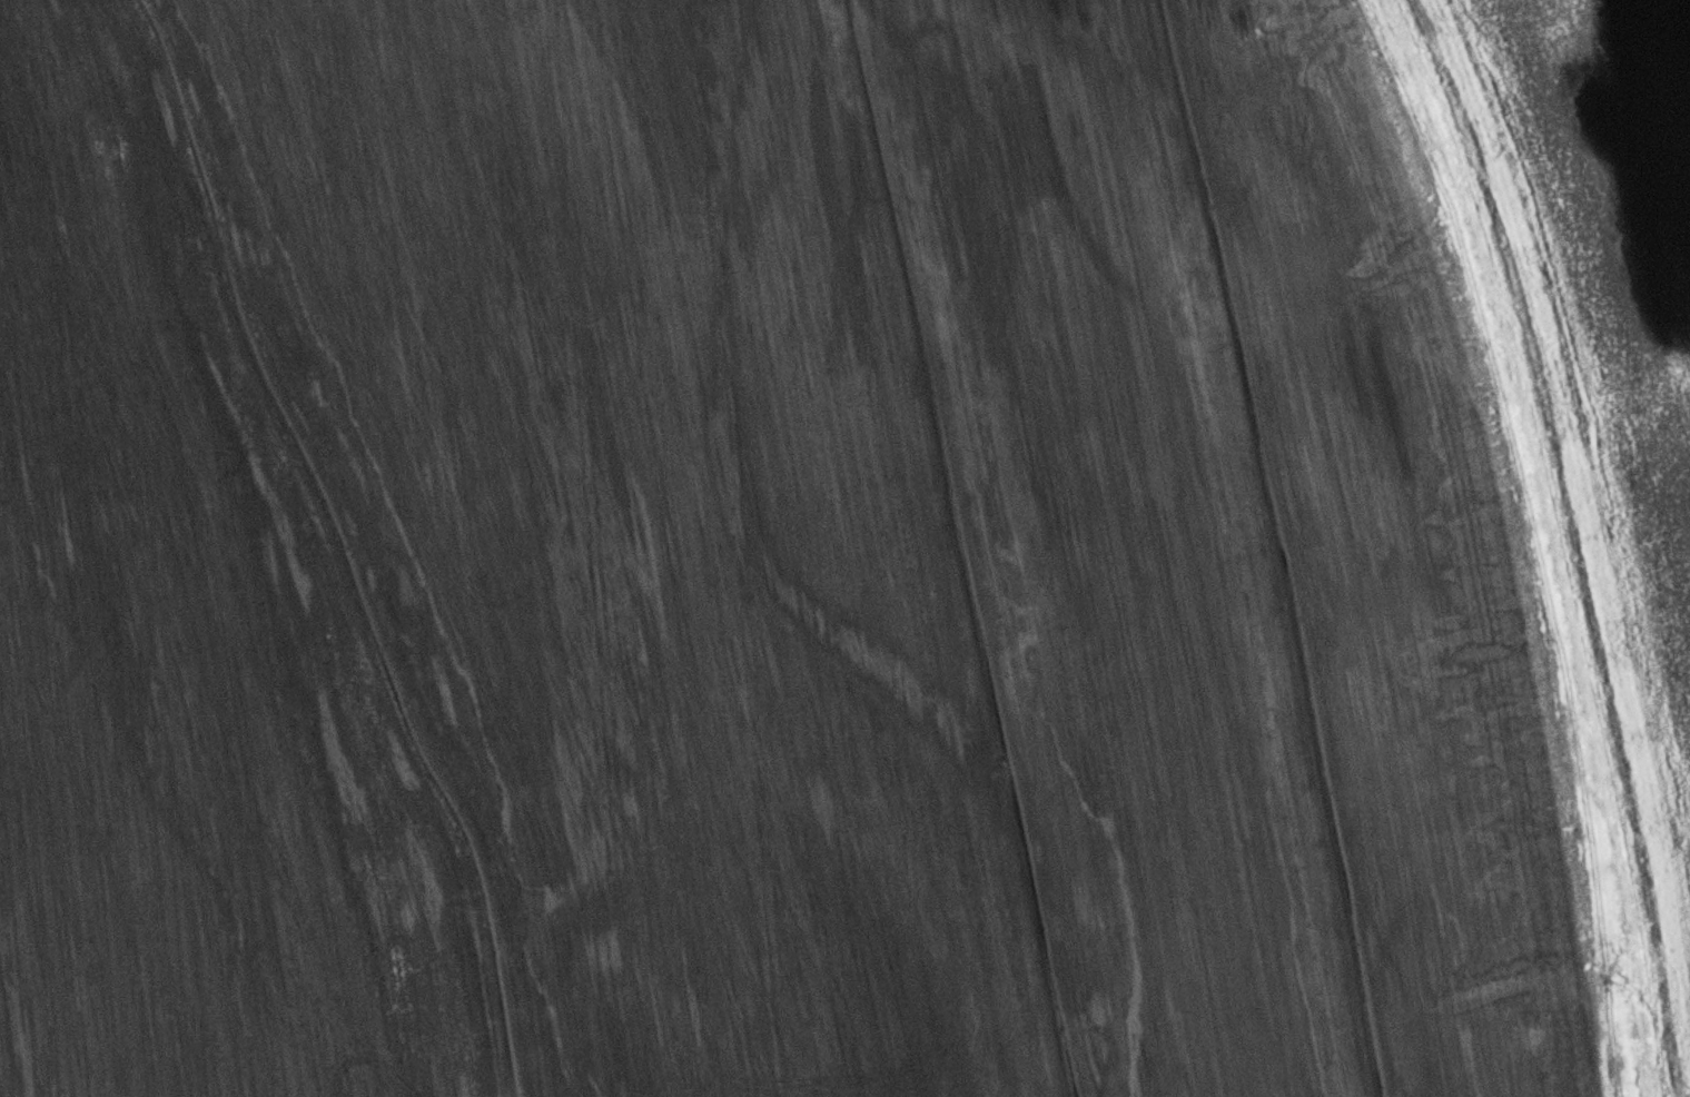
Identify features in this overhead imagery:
road: (1588, 486)

